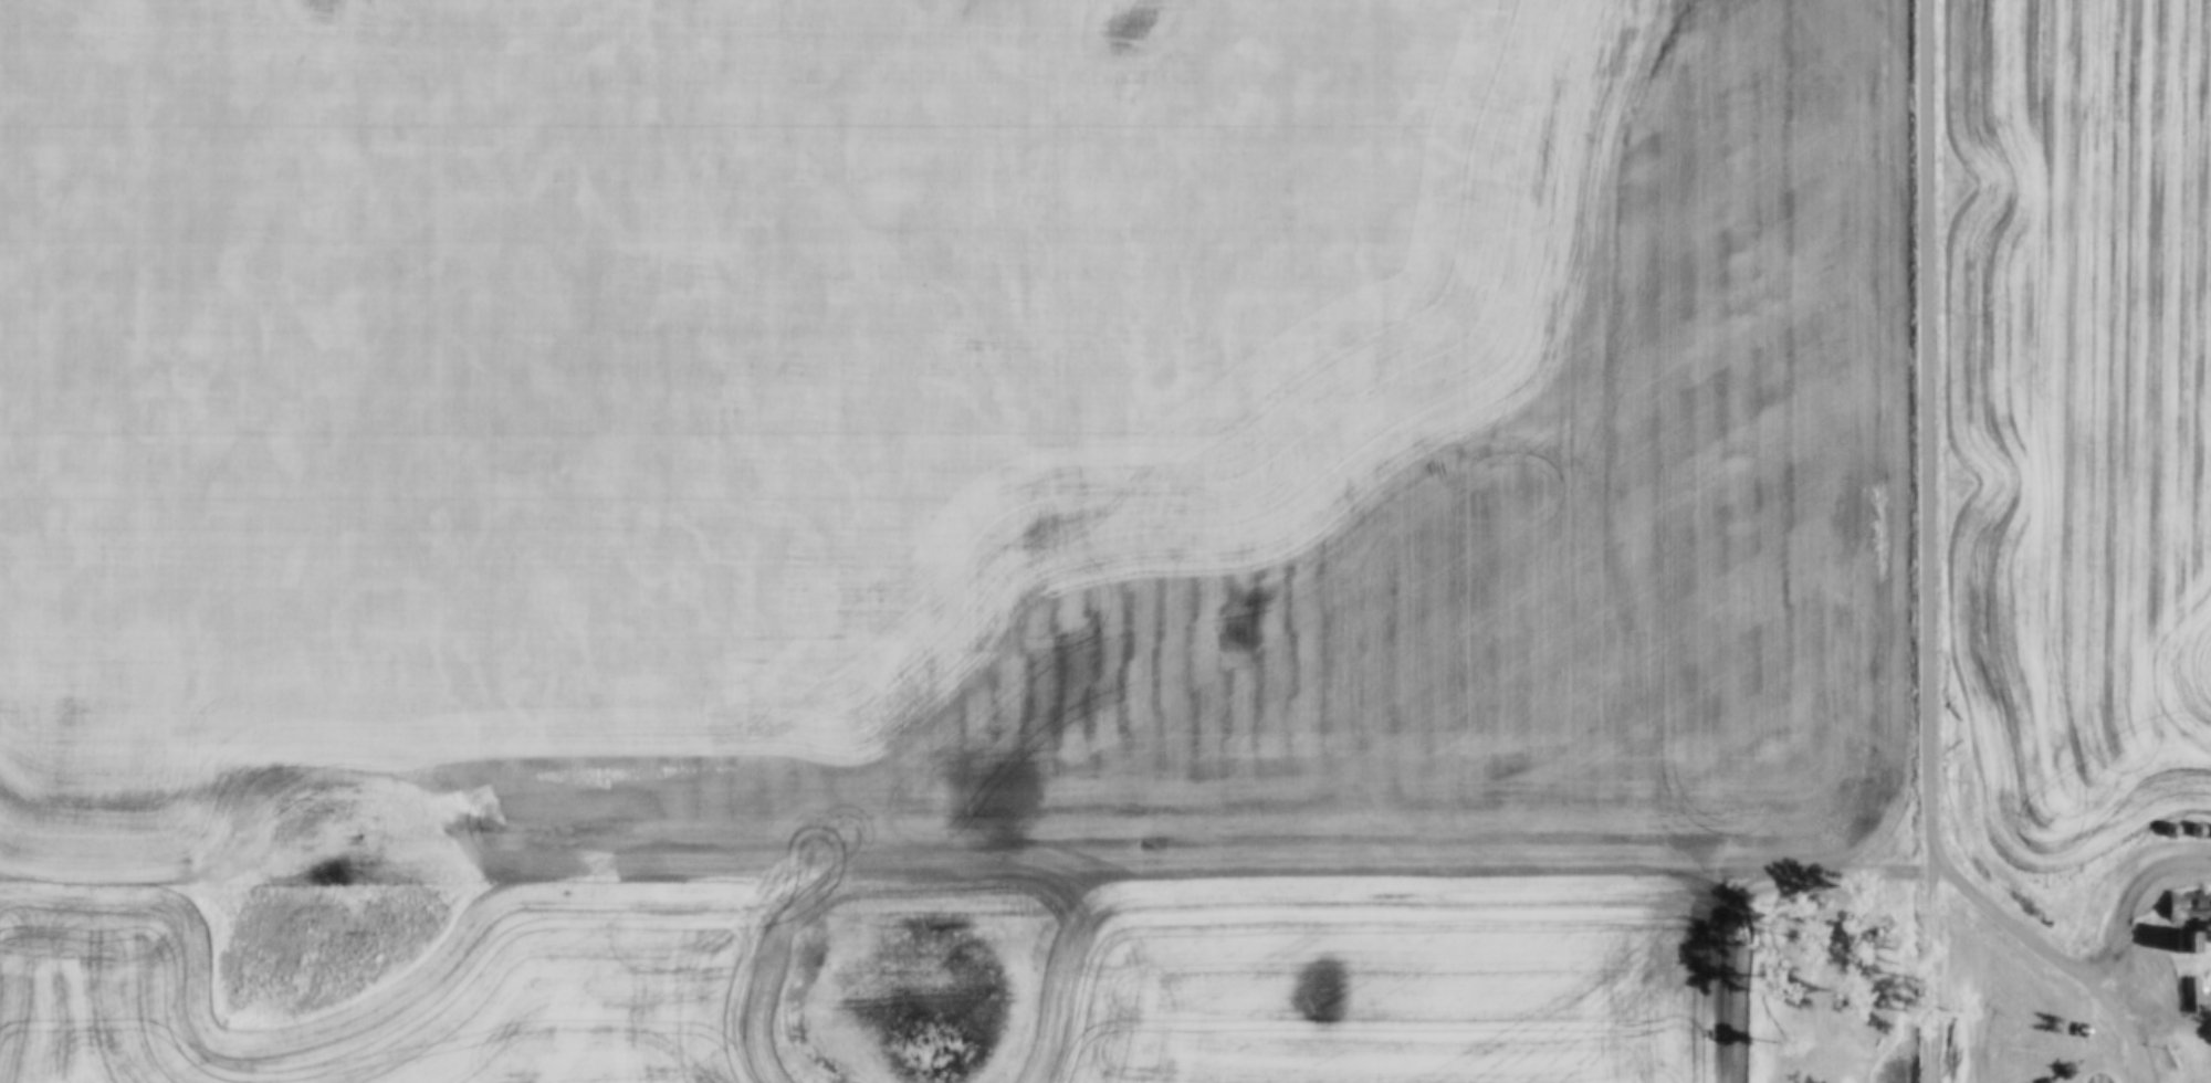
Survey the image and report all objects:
road: (1929, 414)
building: (2169, 829)
building: (2193, 831)
road: (2128, 902)
building: (2188, 940)
road: (2045, 950)
road: (1931, 956)
building: (2193, 997)

